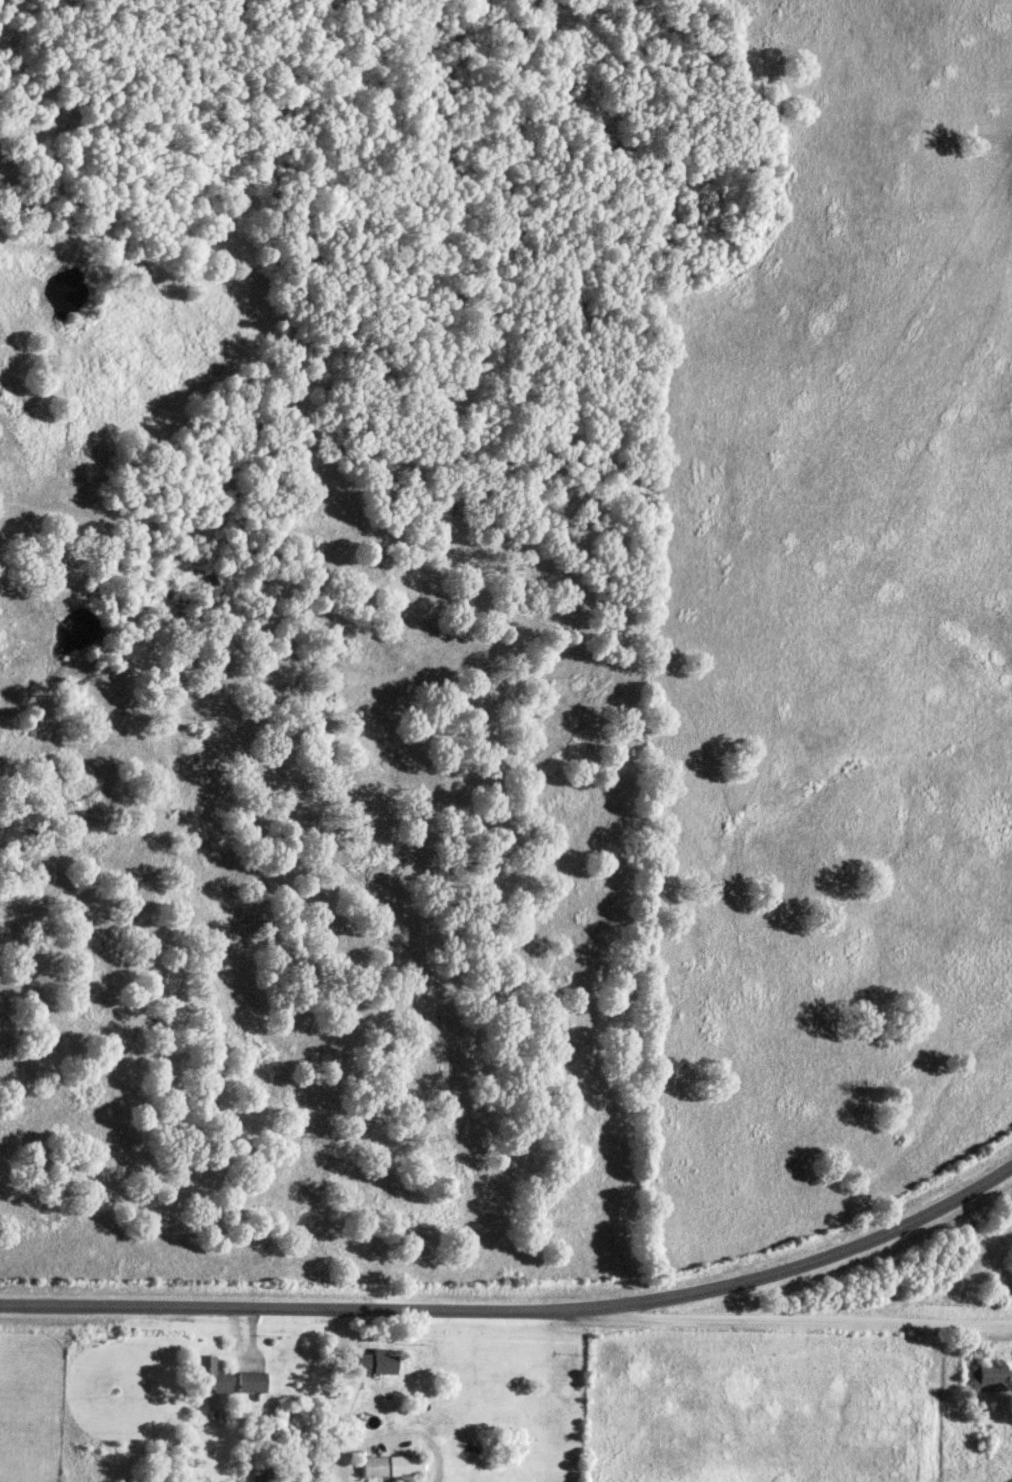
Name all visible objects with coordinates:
road: (520, 1311)
road: (799, 1321)
building: (379, 1364)
building: (213, 1376)
building: (990, 1378)
building: (253, 1383)
road: (322, 1394)
building: (392, 1466)
road: (437, 1471)

